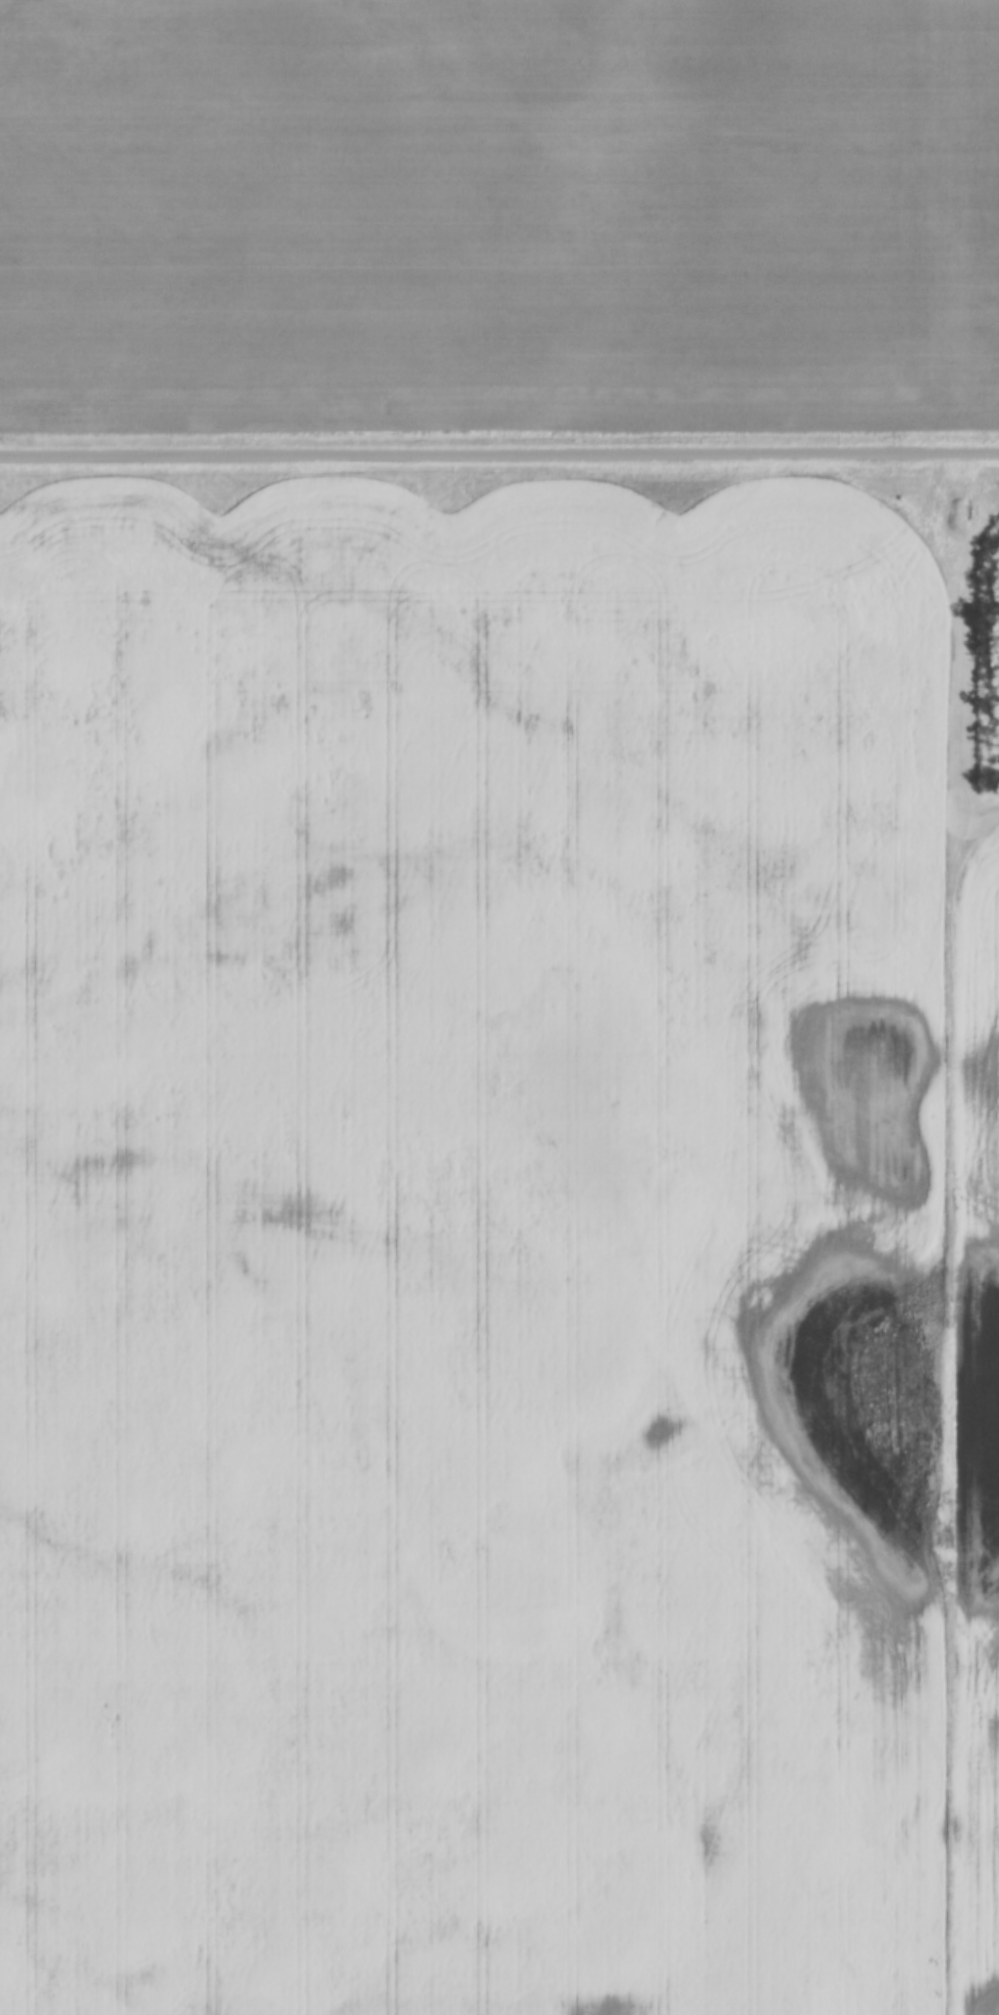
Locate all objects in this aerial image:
road: (499, 455)

